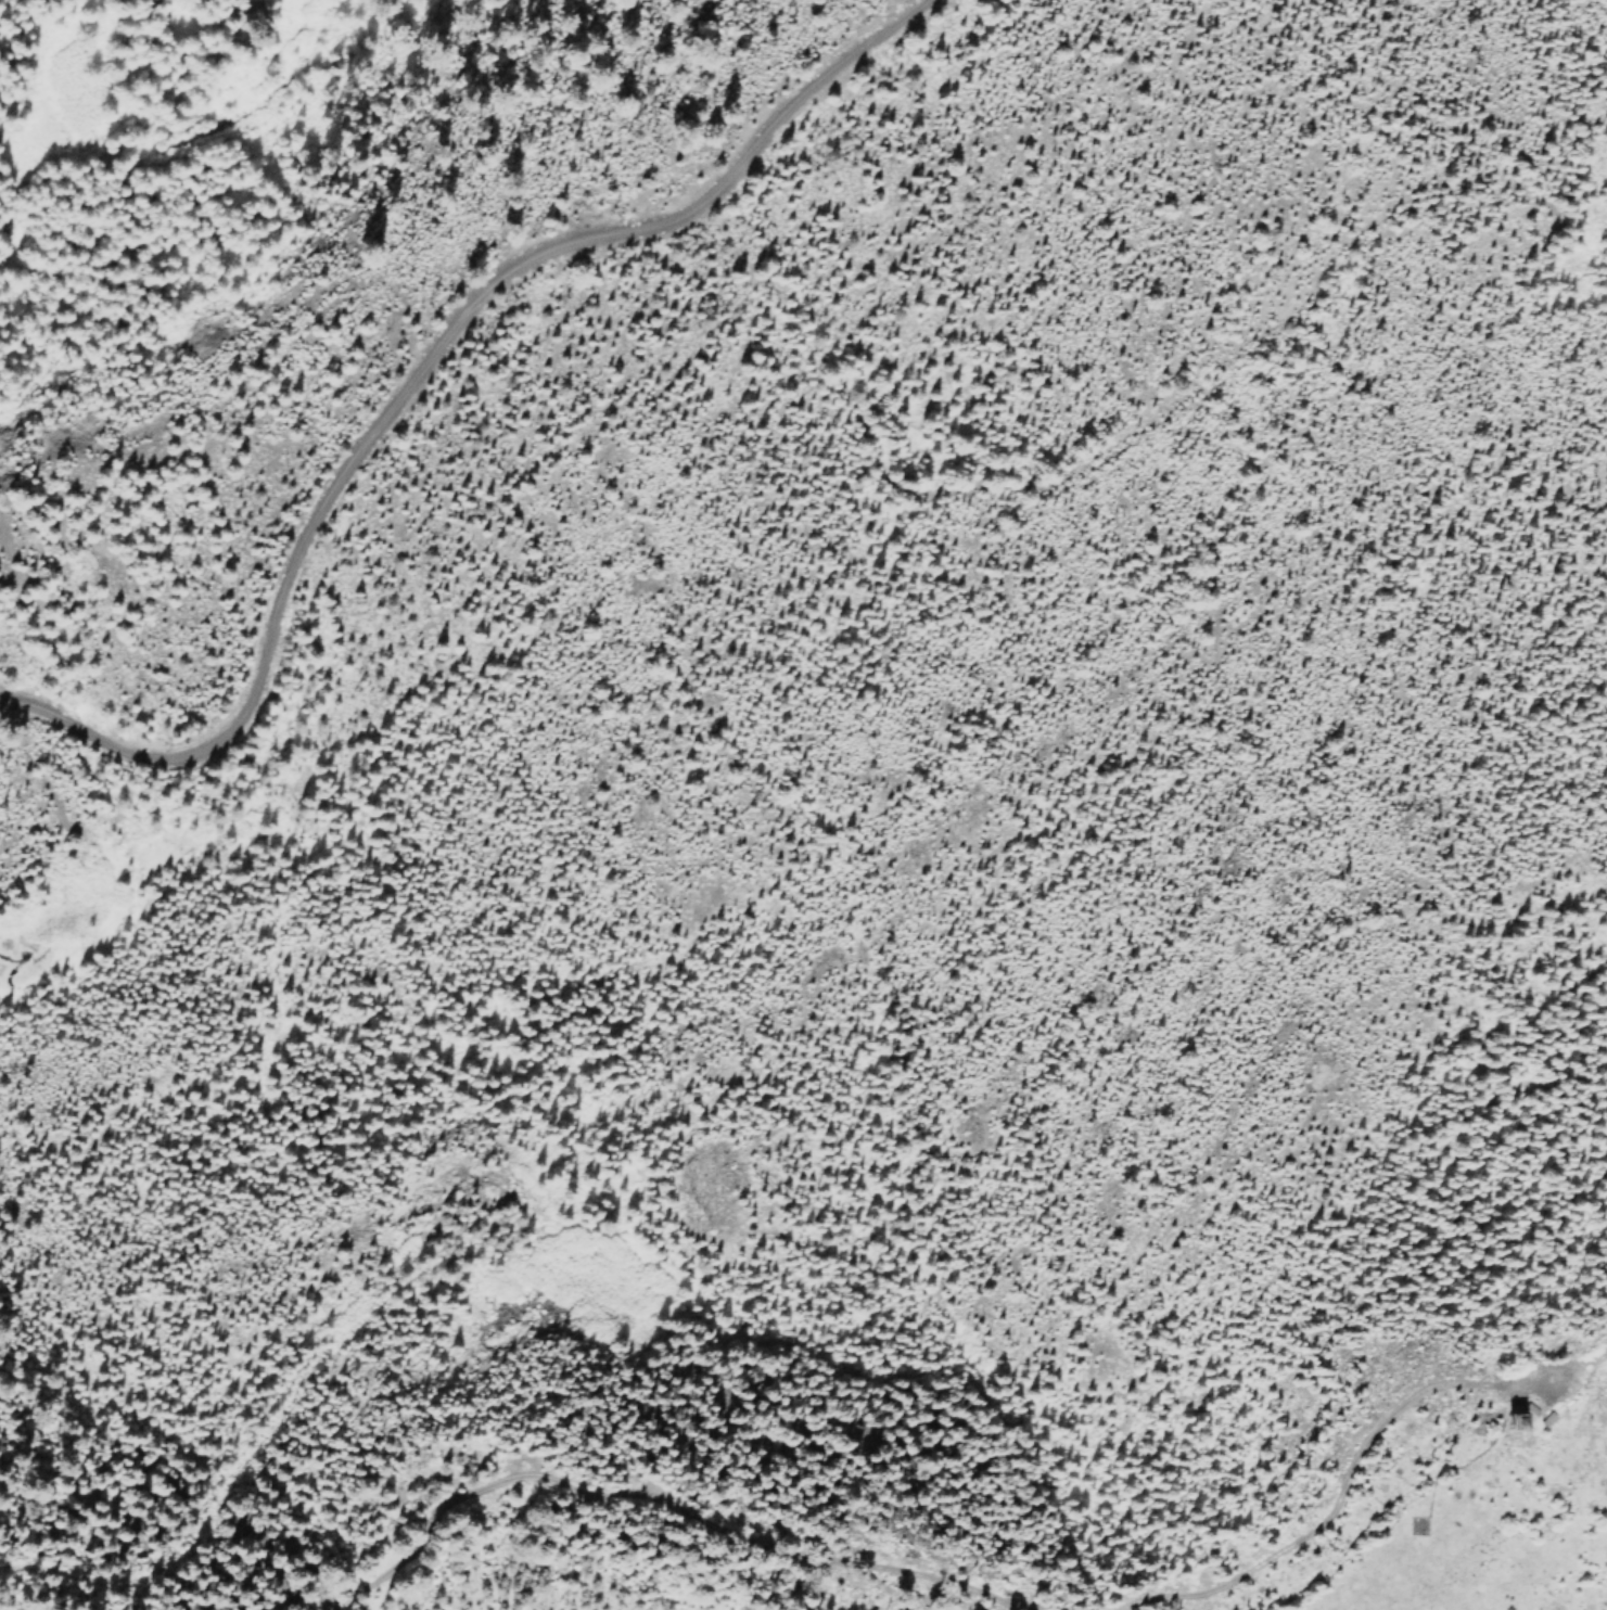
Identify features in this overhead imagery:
road: (418, 380)
parking lot: (1539, 1381)
building: (1525, 1410)
building: (1547, 1419)
road: (1466, 1459)
road: (1343, 1468)
road: (660, 1509)

